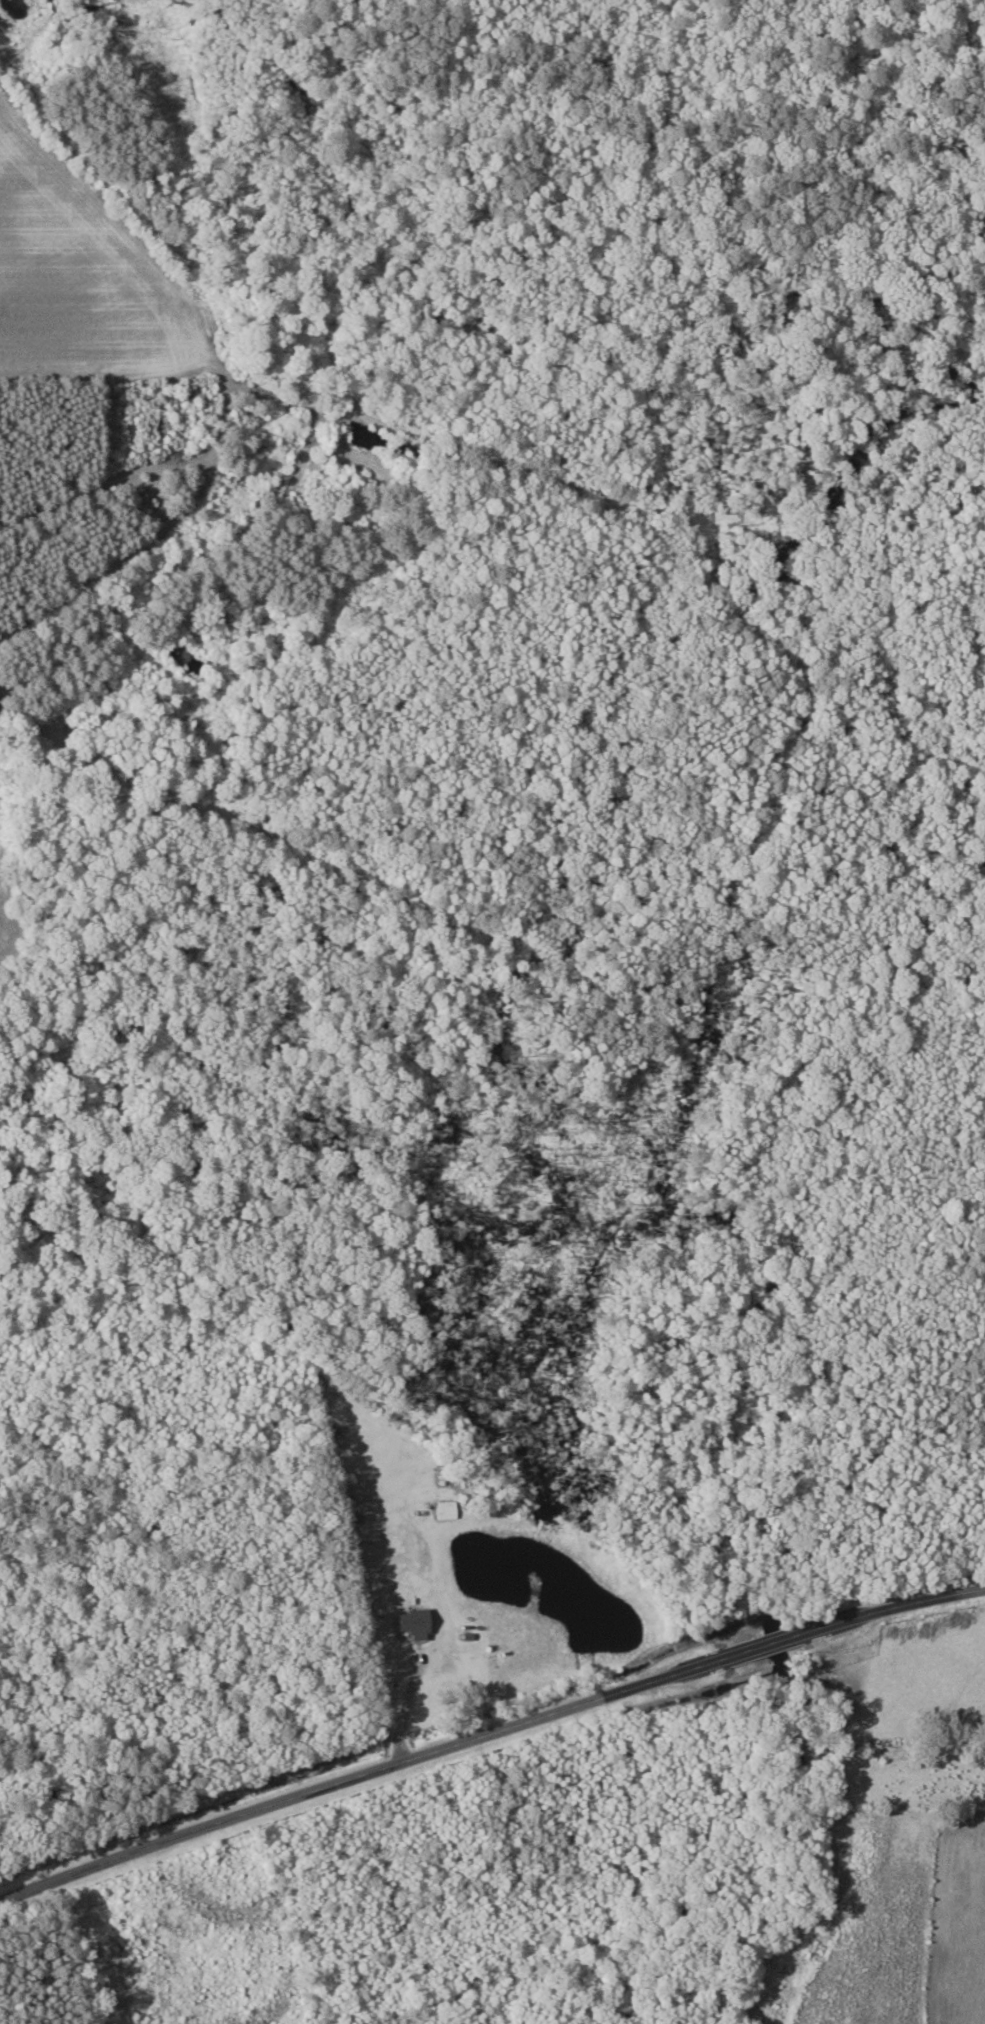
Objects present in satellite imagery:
road: (66, 498)
building: (447, 1509)
building: (417, 1622)
road: (489, 1736)

